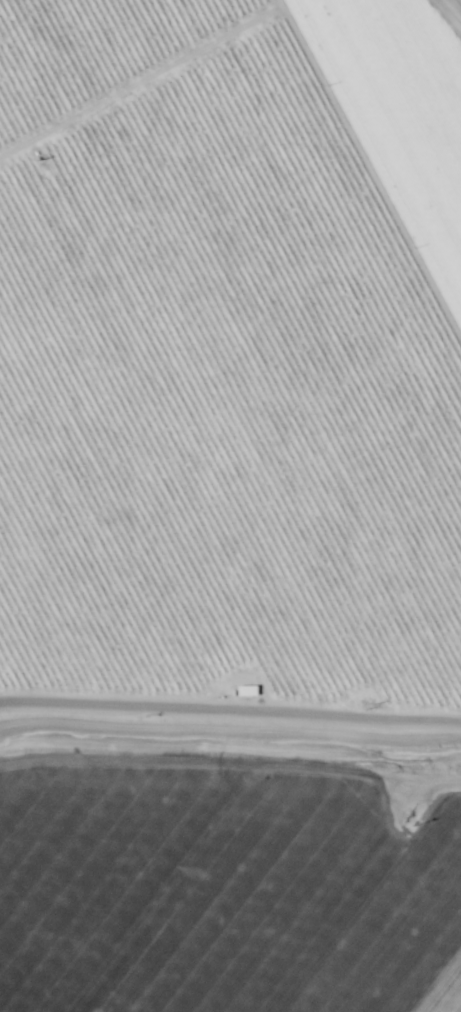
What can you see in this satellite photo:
road: (453, 8)
crop: (230, 506)
road: (231, 733)

